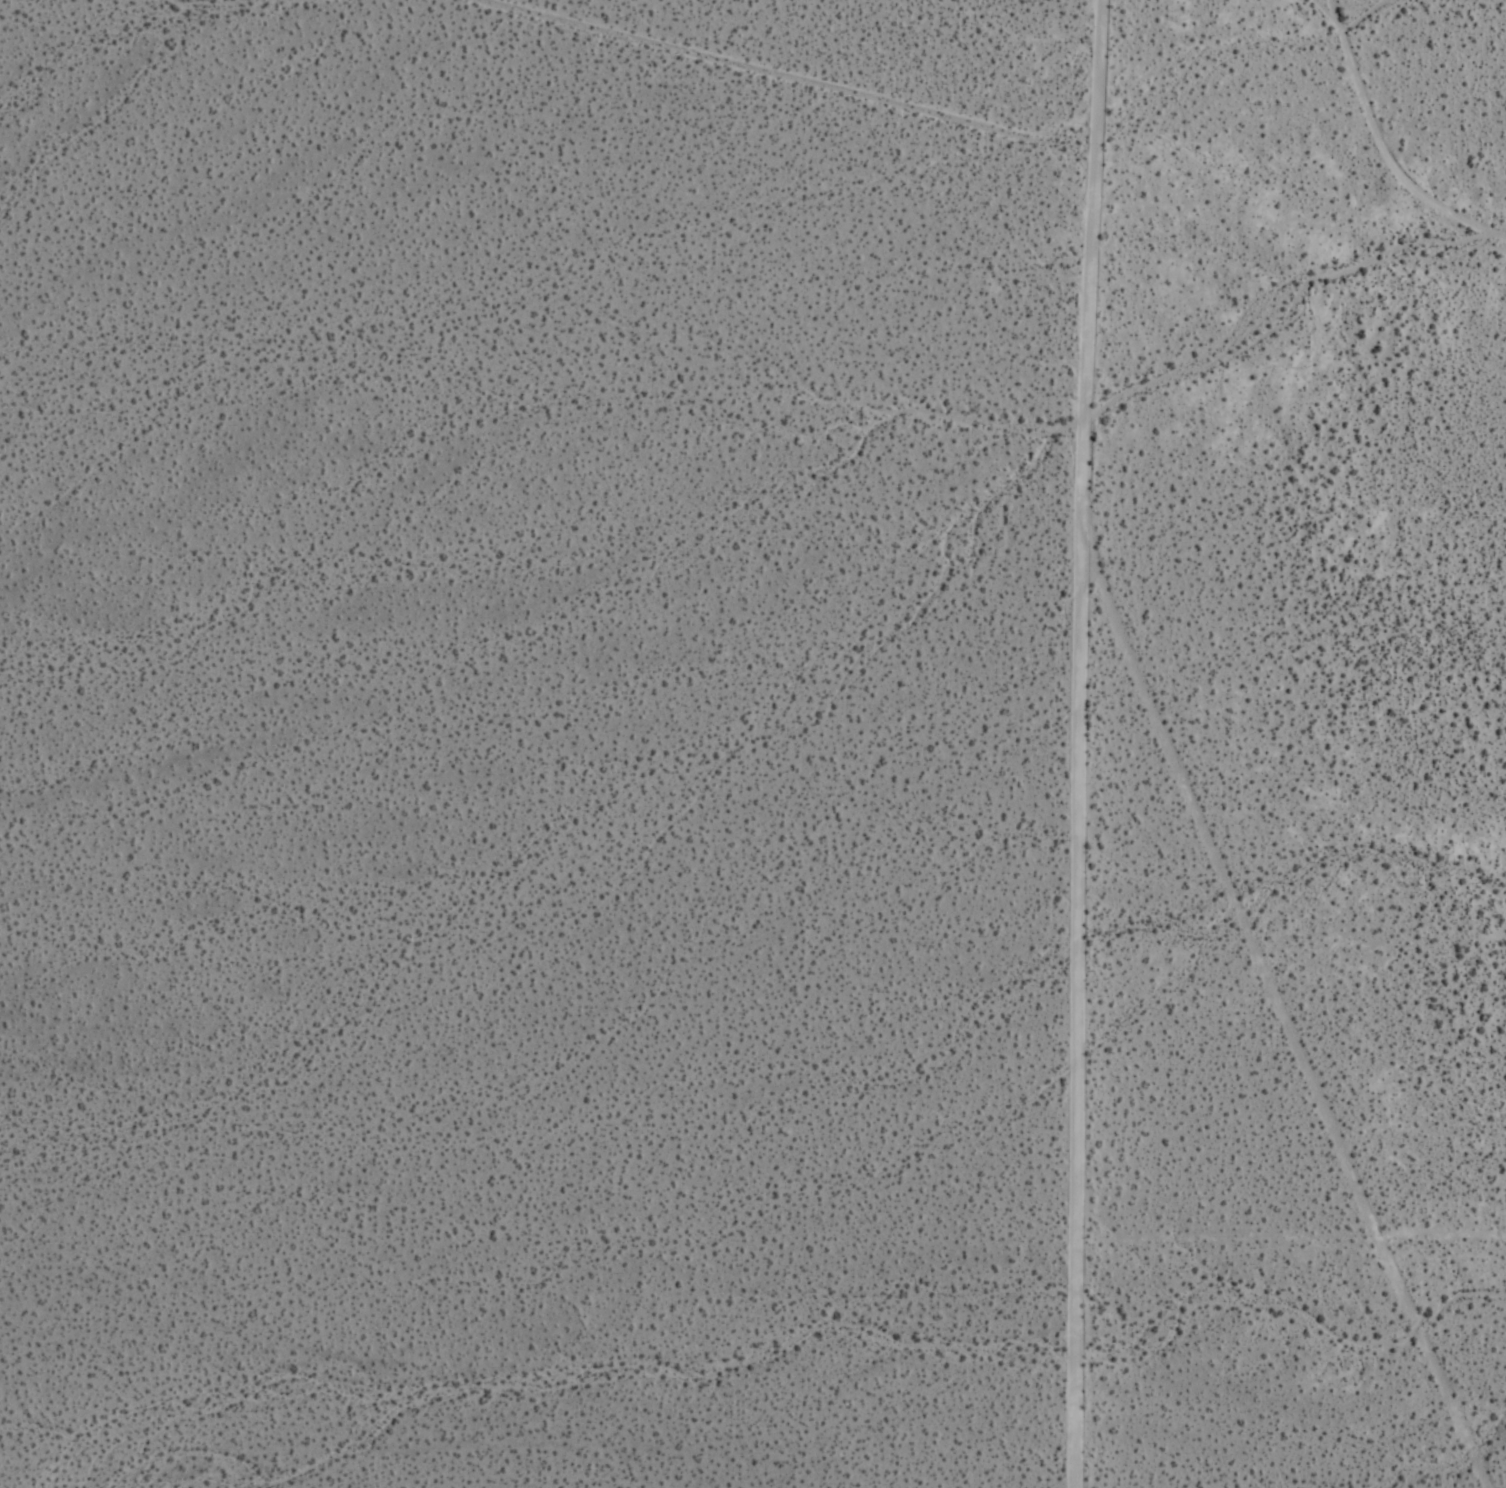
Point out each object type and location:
road: (1388, 142)
road: (1087, 743)
road: (1292, 1247)

